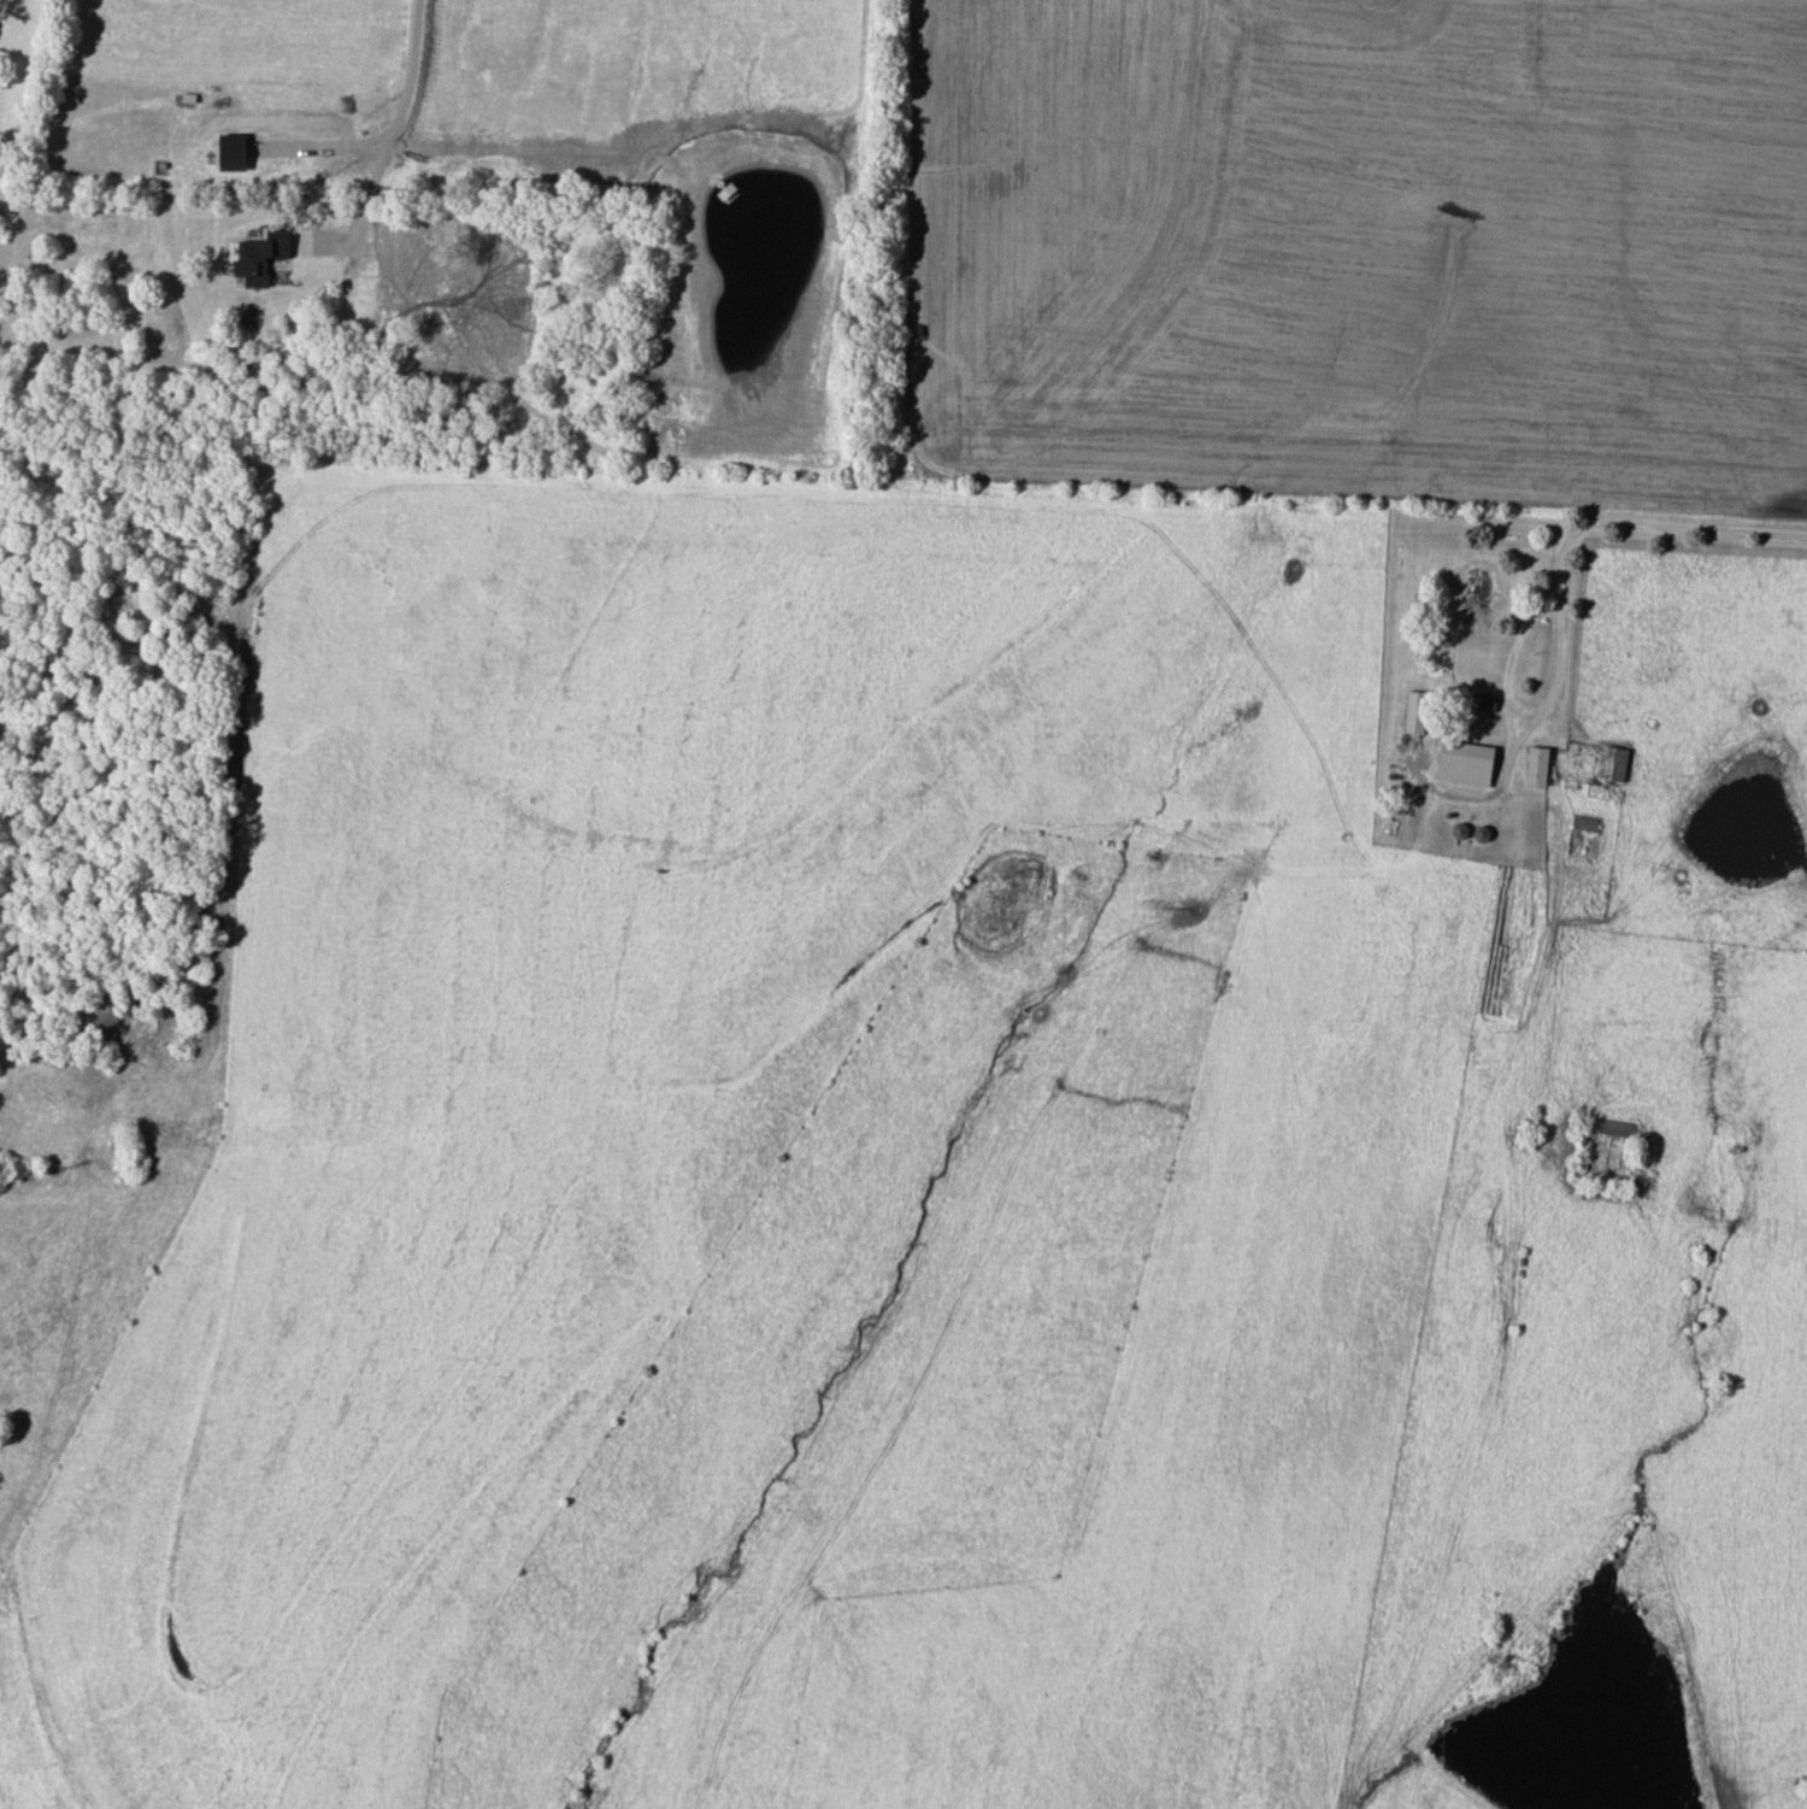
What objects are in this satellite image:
road: (406, 89)
building: (231, 152)
building: (261, 256)
road: (1667, 527)
building: (1485, 703)
building: (1414, 712)
road: (1521, 718)
building: (1464, 764)
building: (1611, 764)
building: (1535, 767)
building: (1607, 1141)

